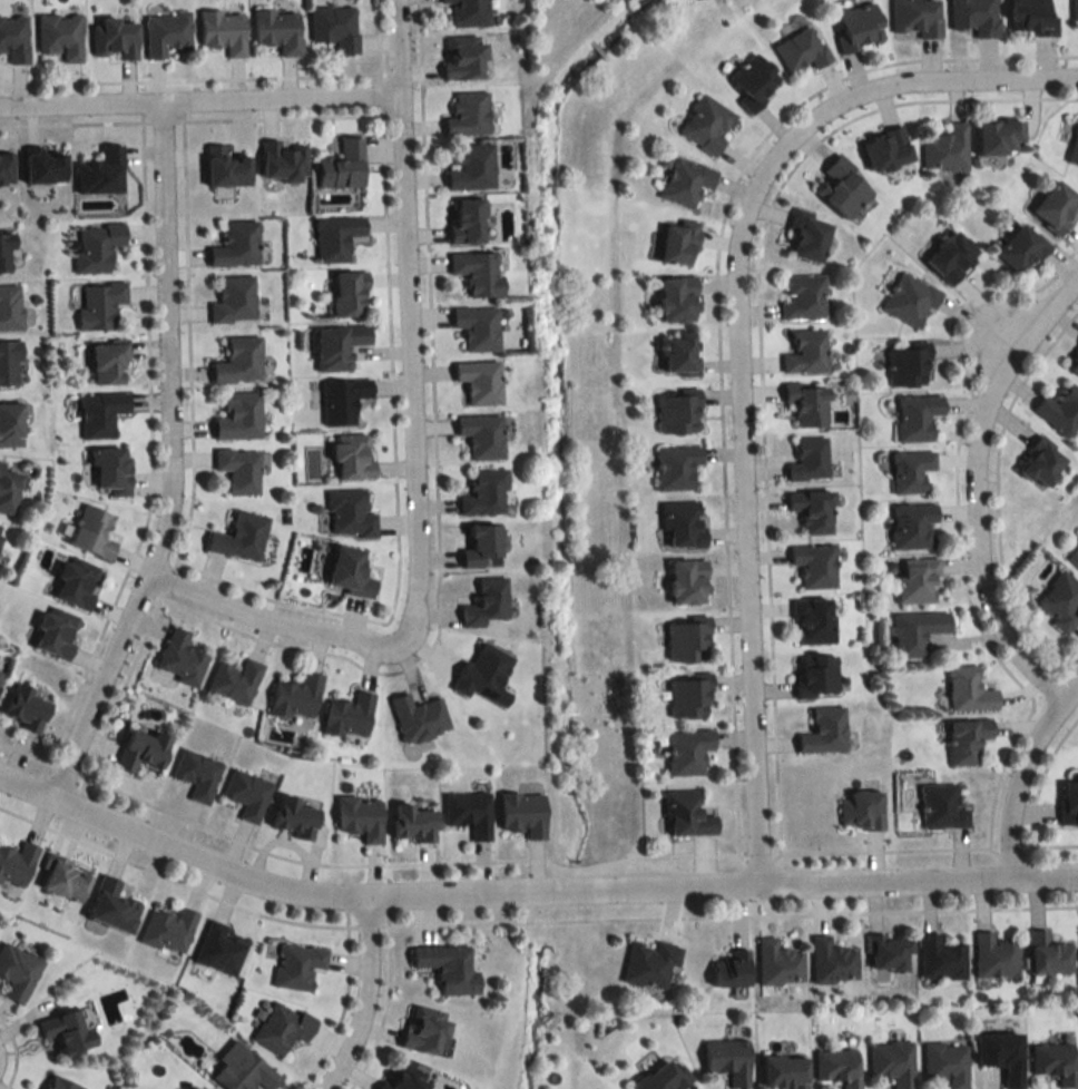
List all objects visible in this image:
building: (1074, 9)
building: (468, 12)
building: (974, 17)
building: (1030, 17)
building: (914, 18)
building: (334, 27)
building: (857, 27)
building: (277, 29)
building: (223, 30)
building: (166, 33)
building: (60, 35)
building: (13, 38)
building: (114, 38)
building: (800, 49)
building: (464, 56)
building: (753, 80)
road: (919, 91)
road: (203, 95)
building: (468, 112)
building: (705, 124)
building: (998, 136)
building: (1074, 146)
building: (886, 148)
building: (945, 148)
building: (283, 161)
building: (341, 164)
building: (6, 166)
building: (45, 166)
building: (225, 167)
building: (472, 167)
building: (100, 171)
building: (685, 181)
building: (842, 187)
building: (1055, 205)
building: (467, 219)
building: (806, 235)
building: (335, 236)
building: (678, 242)
building: (236, 244)
building: (96, 246)
building: (1020, 248)
building: (4, 251)
building: (951, 256)
building: (478, 272)
building: (349, 292)
building: (802, 297)
building: (677, 298)
building: (234, 300)
building: (909, 300)
building: (99, 304)
building: (10, 306)
road: (408, 316)
building: (477, 326)
building: (337, 345)
building: (805, 352)
building: (679, 353)
building: (239, 360)
building: (1074, 360)
building: (108, 362)
building: (9, 364)
building: (905, 366)
building: (479, 380)
building: (342, 400)
building: (806, 402)
building: (1061, 410)
building: (101, 413)
building: (678, 413)
building: (238, 415)
building: (915, 415)
building: (10, 423)
building: (482, 434)
building: (351, 457)
building: (808, 459)
road: (182, 461)
building: (1041, 462)
building: (675, 467)
building: (111, 469)
building: (238, 469)
building: (910, 470)
road: (977, 487)
building: (8, 490)
building: (484, 492)
building: (812, 510)
building: (349, 514)
road: (739, 514)
building: (682, 524)
building: (912, 526)
building: (1, 529)
building: (92, 532)
building: (239, 538)
building: (480, 544)
building: (1074, 556)
building: (813, 565)
building: (349, 571)
building: (917, 580)
building: (687, 581)
building: (76, 582)
building: (1059, 601)
building: (488, 602)
road: (282, 618)
building: (811, 620)
building: (56, 632)
building: (915, 632)
building: (686, 641)
building: (179, 658)
building: (0, 669)
building: (483, 675)
building: (814, 675)
building: (235, 680)
building: (968, 690)
building: (296, 696)
building: (687, 698)
building: (24, 708)
building: (349, 715)
building: (418, 717)
building: (822, 730)
building: (967, 739)
building: (143, 749)
building: (686, 752)
building: (197, 774)
road: (1023, 774)
building: (246, 794)
building: (1068, 801)
building: (940, 806)
building: (861, 810)
building: (469, 812)
building: (522, 813)
building: (686, 814)
building: (295, 815)
building: (361, 816)
building: (413, 822)
building: (16, 863)
building: (62, 879)
road: (528, 895)
building: (112, 906)
building: (168, 930)
building: (218, 948)
building: (888, 953)
building: (1048, 954)
building: (994, 956)
building: (940, 959)
building: (832, 962)
building: (649, 963)
building: (777, 963)
building: (296, 965)
building: (447, 968)
building: (729, 969)
building: (17, 971)
road: (367, 1000)
building: (281, 1027)
building: (424, 1031)
building: (66, 1032)
building: (1002, 1056)
building: (728, 1061)
building: (892, 1062)
building: (1053, 1062)
building: (945, 1063)
building: (837, 1067)
building: (245, 1072)
building: (783, 1072)
building: (663, 1076)
building: (404, 1077)
building: (60, 1083)
building: (209, 1088)

